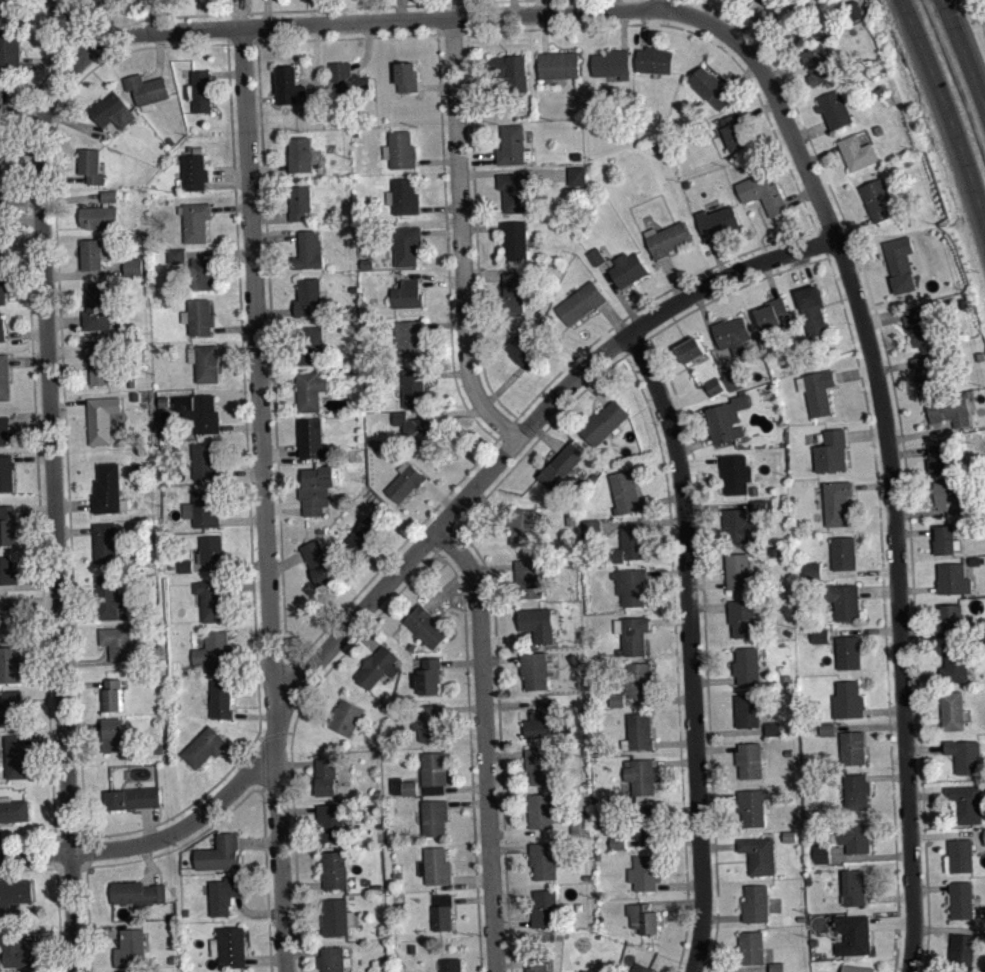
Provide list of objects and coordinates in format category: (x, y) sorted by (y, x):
building: (104, 0)
building: (767, 2)
road: (613, 5)
building: (2, 7)
road: (284, 10)
road: (374, 21)
road: (51, 23)
road: (83, 31)
road: (450, 32)
road: (346, 36)
road: (704, 36)
road: (241, 42)
road: (966, 45)
building: (10, 46)
building: (654, 59)
building: (611, 63)
building: (558, 64)
building: (818, 64)
building: (510, 73)
building: (407, 77)
building: (347, 80)
building: (288, 84)
building: (711, 87)
building: (1, 89)
building: (146, 89)
building: (200, 91)
road: (948, 106)
building: (835, 109)
building: (112, 111)
building: (735, 132)
building: (513, 144)
building: (400, 149)
building: (857, 152)
building: (300, 153)
building: (90, 165)
building: (194, 172)
building: (577, 175)
building: (517, 189)
building: (762, 192)
building: (0, 195)
building: (403, 196)
building: (877, 199)
building: (299, 202)
building: (100, 213)
building: (196, 221)
building: (717, 221)
road: (476, 230)
road: (461, 235)
building: (668, 238)
building: (1, 239)
building: (515, 239)
building: (406, 245)
building: (308, 250)
road: (447, 250)
building: (91, 254)
building: (176, 255)
building: (596, 256)
building: (132, 266)
building: (628, 269)
building: (901, 272)
building: (201, 273)
building: (2, 284)
building: (514, 291)
building: (407, 294)
building: (309, 297)
building: (581, 302)
road: (644, 304)
building: (97, 306)
building: (812, 309)
building: (773, 313)
building: (198, 316)
building: (920, 324)
building: (2, 326)
building: (732, 334)
building: (412, 338)
building: (311, 345)
building: (524, 348)
building: (690, 349)
building: (99, 361)
building: (204, 362)
building: (924, 373)
building: (4, 377)
building: (734, 378)
road: (272, 379)
building: (415, 386)
building: (714, 386)
building: (310, 390)
building: (817, 390)
road: (63, 391)
building: (715, 393)
building: (950, 409)
building: (200, 411)
building: (727, 417)
building: (102, 419)
building: (604, 421)
road: (547, 428)
building: (4, 430)
building: (418, 431)
road: (35, 434)
building: (312, 439)
road: (886, 444)
building: (831, 451)
road: (902, 453)
building: (938, 458)
building: (205, 460)
building: (561, 464)
road: (53, 470)
building: (6, 472)
building: (735, 473)
building: (405, 481)
building: (108, 489)
building: (316, 489)
building: (625, 492)
road: (248, 493)
building: (947, 493)
road: (264, 500)
building: (837, 501)
building: (762, 505)
building: (203, 507)
building: (762, 514)
building: (7, 524)
building: (524, 525)
building: (739, 526)
building: (592, 528)
building: (367, 532)
building: (947, 540)
building: (105, 542)
building: (630, 544)
road: (440, 545)
road: (700, 546)
building: (212, 549)
road: (394, 551)
building: (775, 551)
building: (843, 552)
road: (409, 560)
building: (319, 562)
building: (185, 565)
building: (7, 570)
building: (812, 570)
building: (740, 572)
building: (187, 573)
building: (530, 578)
building: (953, 578)
building: (632, 585)
building: (109, 597)
building: (213, 598)
building: (844, 600)
road: (883, 601)
building: (10, 616)
building: (743, 617)
building: (954, 618)
building: (537, 623)
building: (426, 626)
building: (633, 633)
building: (820, 635)
building: (117, 642)
building: (821, 642)
road: (688, 648)
building: (848, 651)
building: (214, 652)
road: (675, 659)
building: (10, 663)
building: (956, 663)
building: (747, 665)
building: (378, 666)
building: (535, 669)
building: (429, 676)
building: (639, 680)
building: (112, 695)
building: (222, 699)
building: (617, 699)
building: (847, 699)
building: (11, 707)
building: (747, 710)
building: (953, 710)
building: (345, 716)
road: (467, 719)
building: (544, 719)
building: (428, 721)
road: (294, 725)
building: (772, 728)
building: (827, 728)
road: (499, 732)
building: (638, 732)
road: (276, 733)
building: (115, 735)
building: (774, 735)
building: (828, 735)
road: (485, 744)
building: (204, 746)
building: (852, 747)
building: (965, 755)
building: (16, 756)
building: (749, 759)
road: (262, 761)
building: (540, 765)
building: (434, 768)
building: (326, 775)
building: (639, 777)
building: (409, 787)
building: (856, 790)
road: (247, 793)
building: (134, 798)
building: (581, 799)
building: (966, 803)
building: (753, 805)
building: (13, 809)
building: (542, 810)
building: (435, 817)
building: (646, 821)
building: (331, 822)
building: (581, 825)
building: (789, 835)
building: (853, 835)
road: (41, 839)
building: (618, 842)
building: (619, 849)
road: (86, 850)
building: (822, 852)
building: (220, 853)
building: (759, 854)
building: (961, 854)
building: (543, 859)
building: (436, 865)
road: (35, 867)
building: (336, 869)
building: (645, 872)
building: (854, 887)
road: (87, 889)
building: (138, 892)
building: (13, 893)
building: (225, 893)
building: (961, 899)
road: (58, 900)
building: (755, 902)
building: (544, 909)
building: (443, 912)
building: (337, 917)
building: (644, 918)
building: (853, 934)
road: (478, 935)
building: (229, 946)
building: (751, 946)
building: (130, 947)
building: (962, 949)
road: (90, 950)
building: (17, 951)
road: (60, 953)
building: (333, 959)
road: (300, 961)
building: (537, 964)
road: (271, 965)
building: (451, 965)
building: (776, 966)
road: (510, 967)
building: (641, 967)
road: (708, 967)
building: (857, 967)
road: (893, 969)
building: (589, 970)
building: (127, 971)
building: (833, 971)

